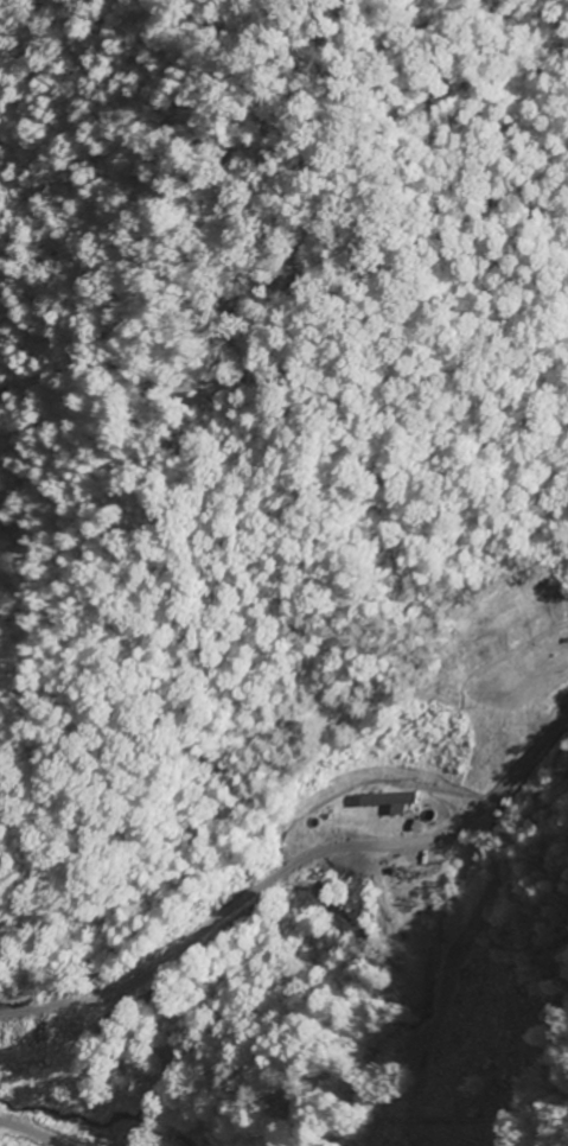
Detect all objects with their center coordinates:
building: (382, 802)
road: (287, 861)
road: (31, 1133)

